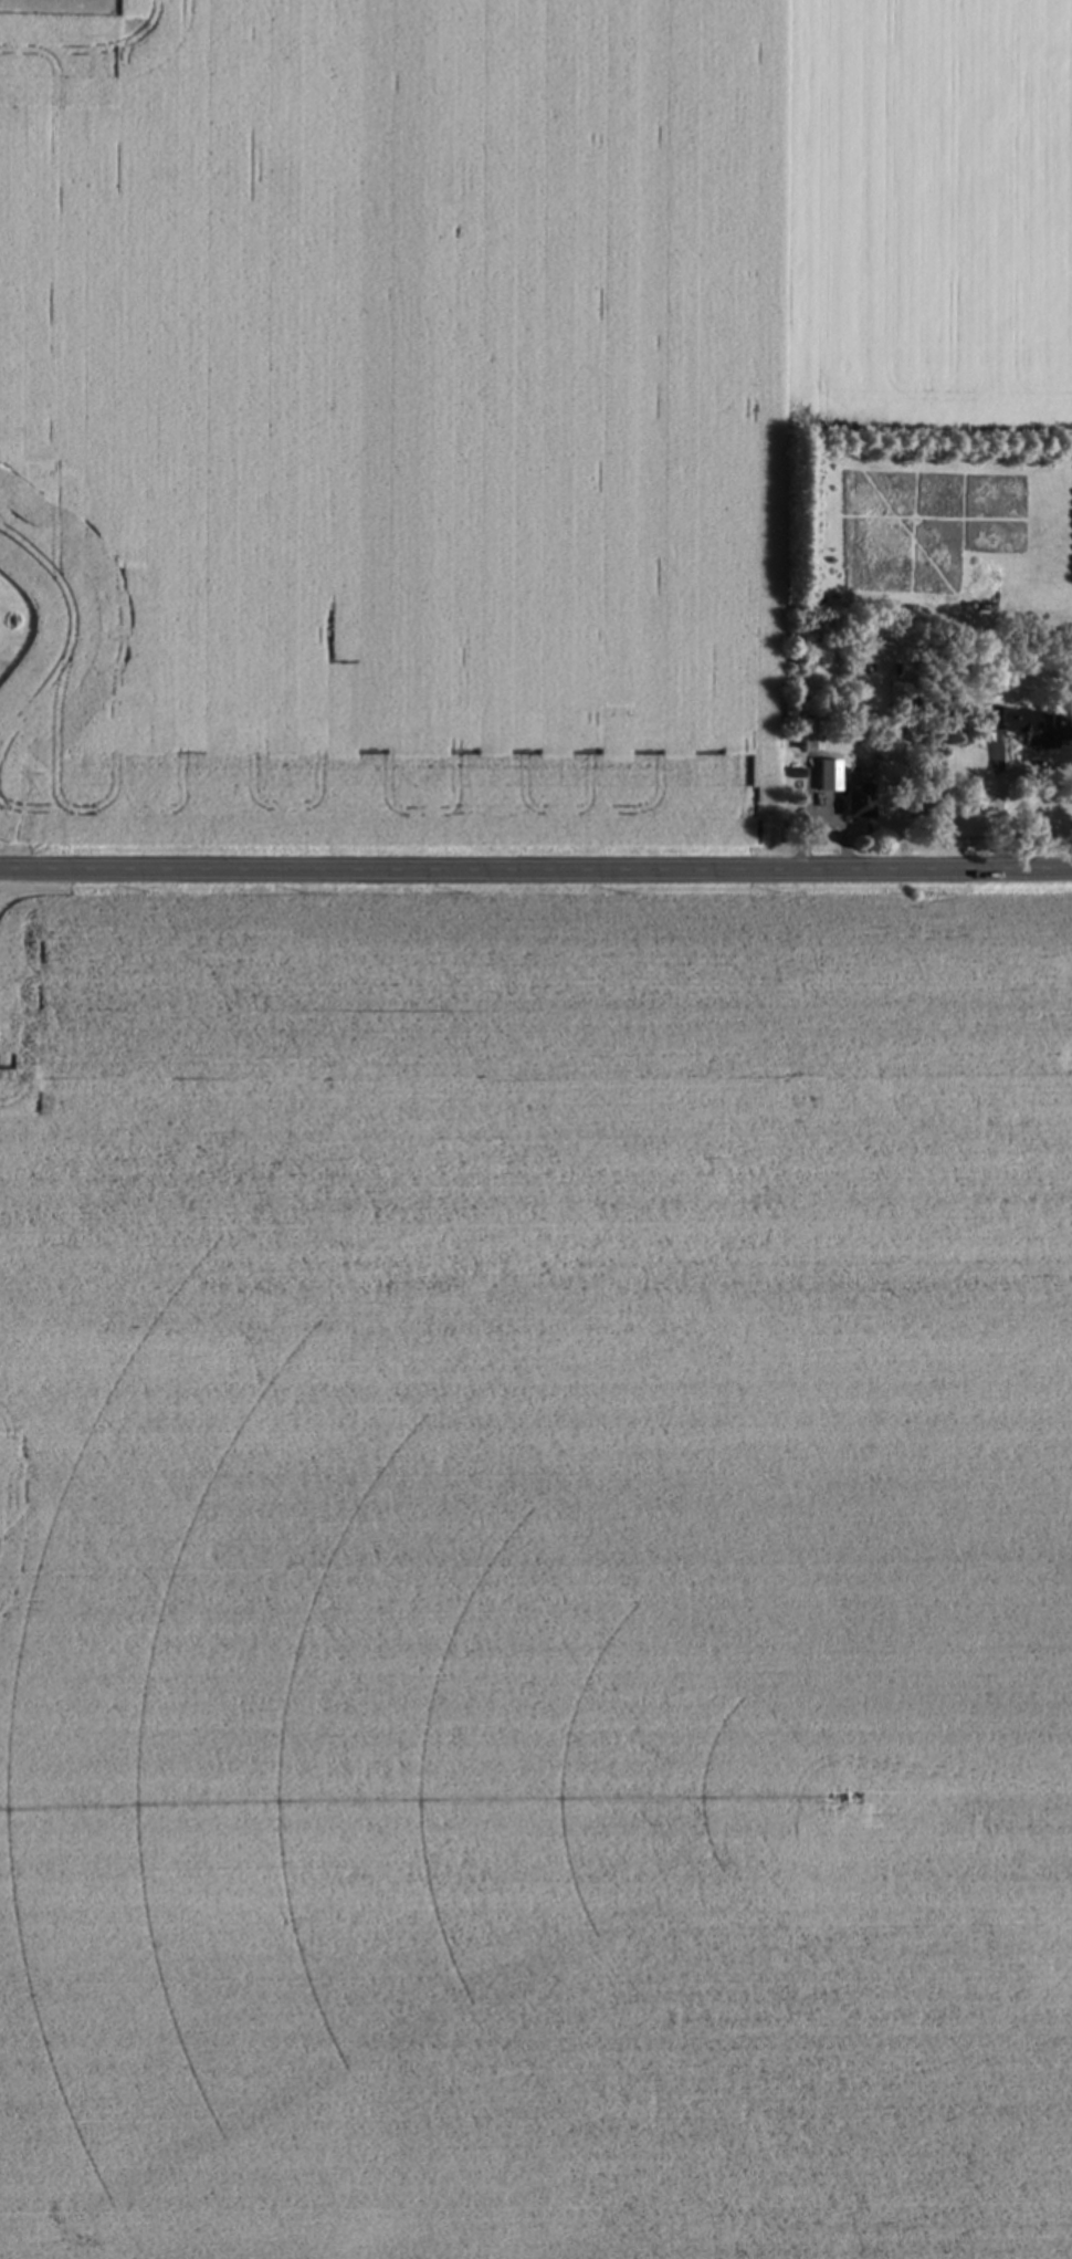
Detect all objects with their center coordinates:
crop: (931, 203)
crop: (395, 419)
road: (999, 792)
road: (536, 880)
crop: (536, 1569)

